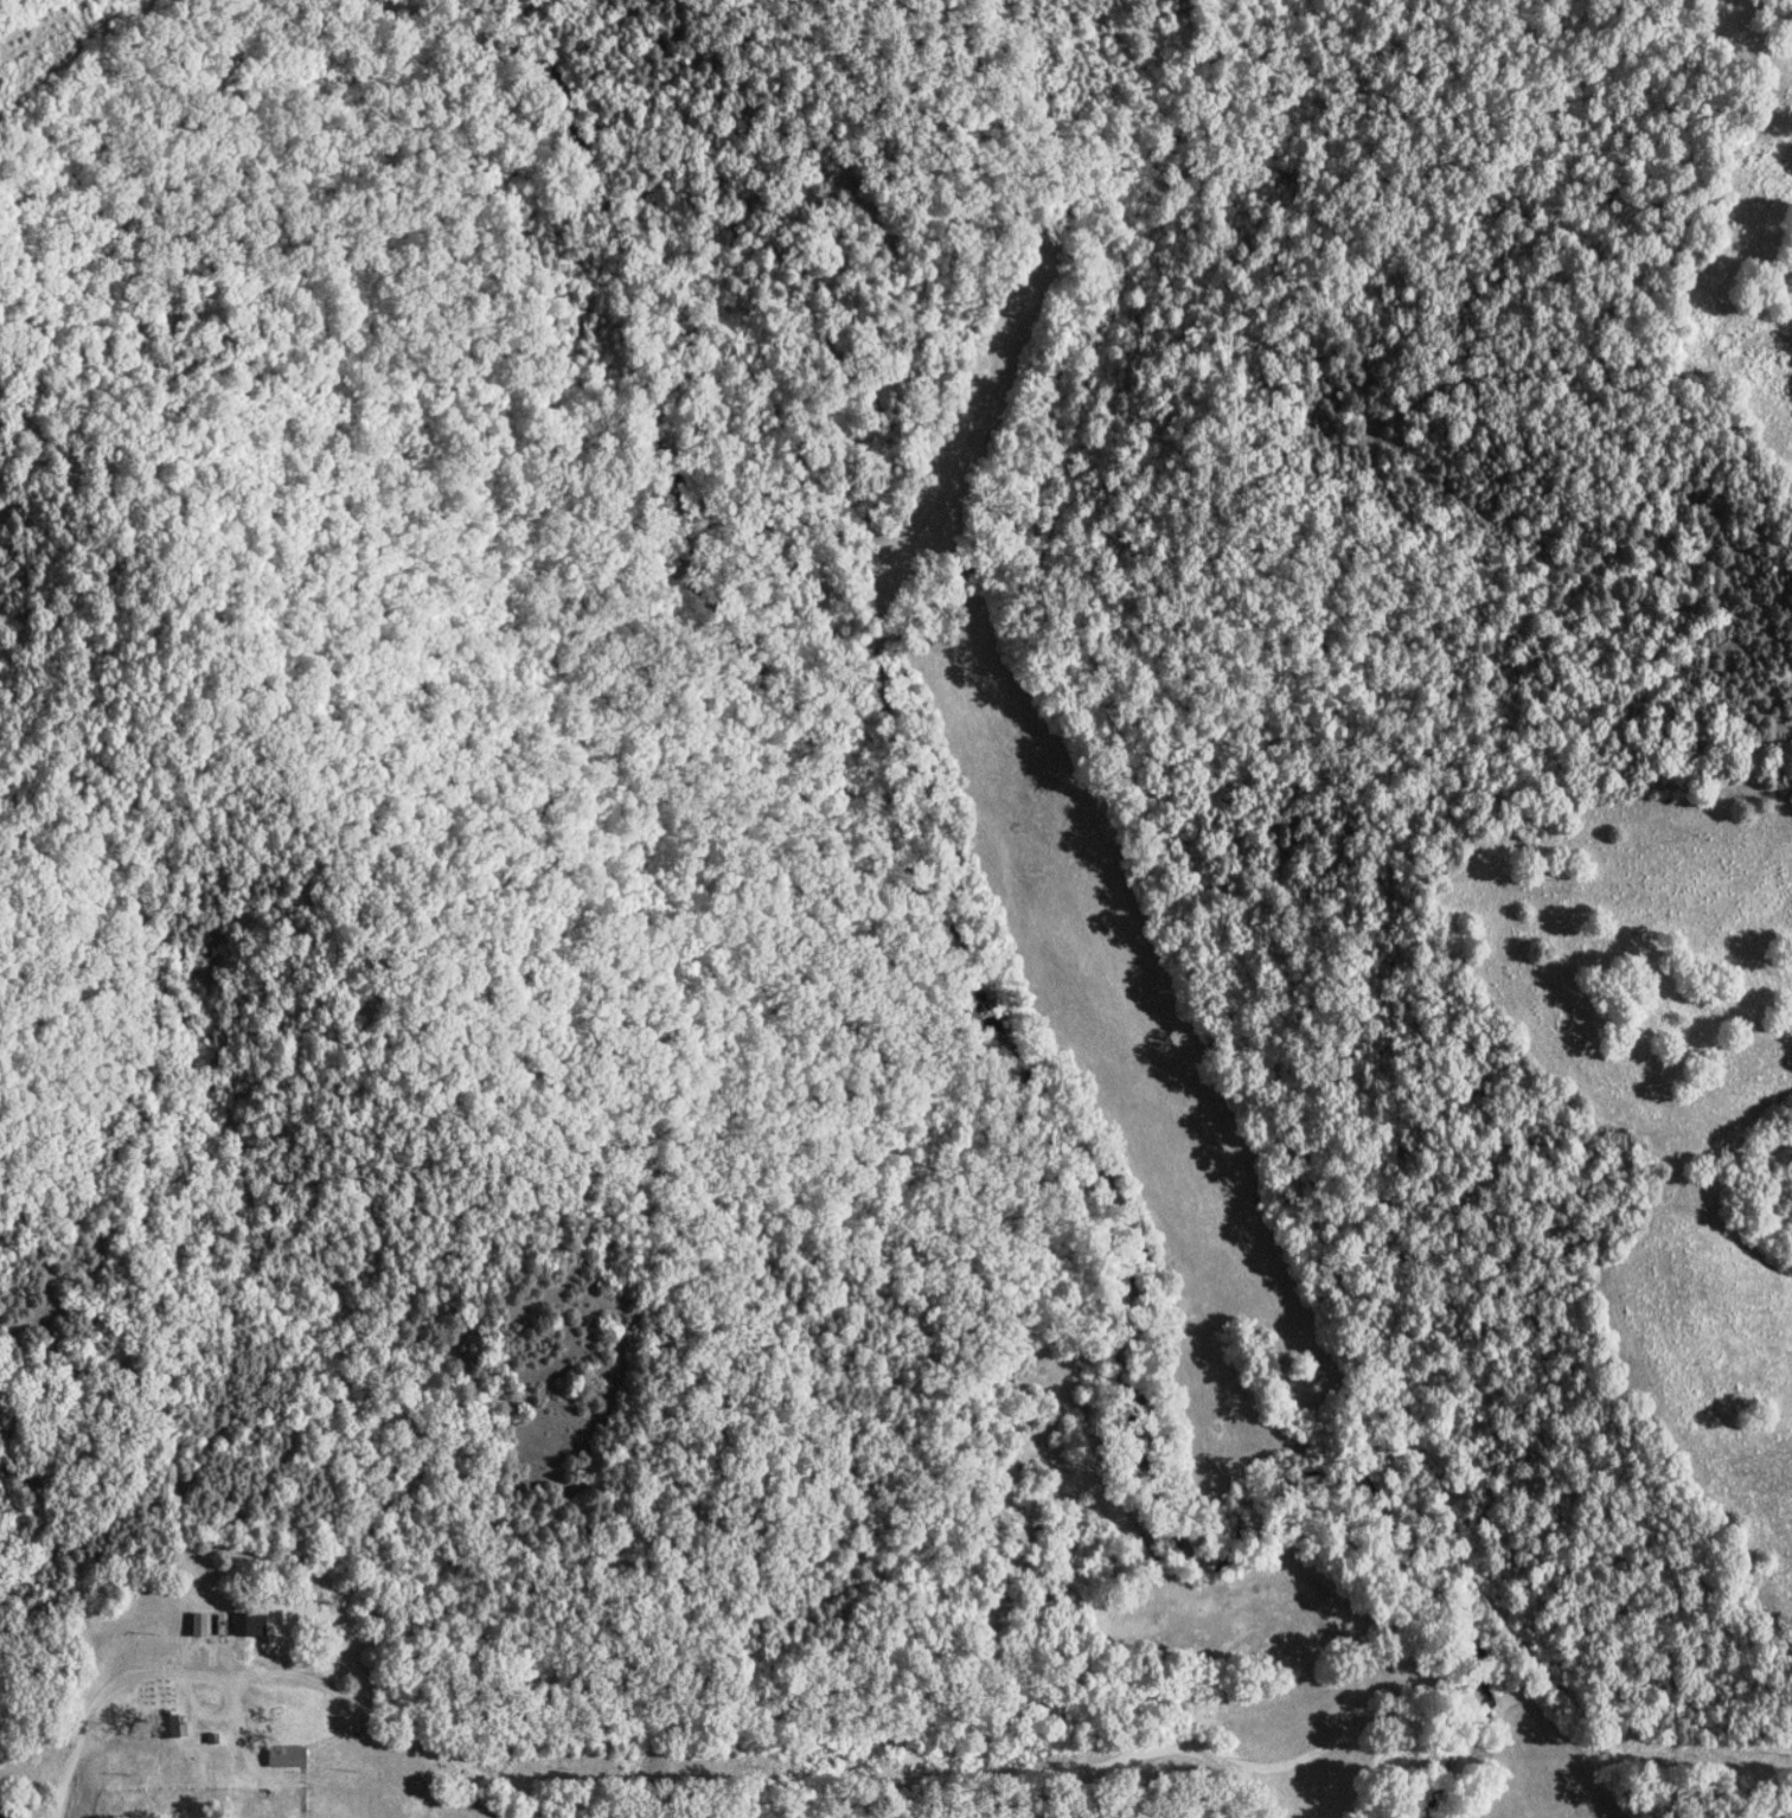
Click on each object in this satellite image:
building: (204, 1625)
building: (250, 1625)
road: (305, 1675)
building: (171, 1727)
road: (1173, 1780)
building: (2, 1810)

